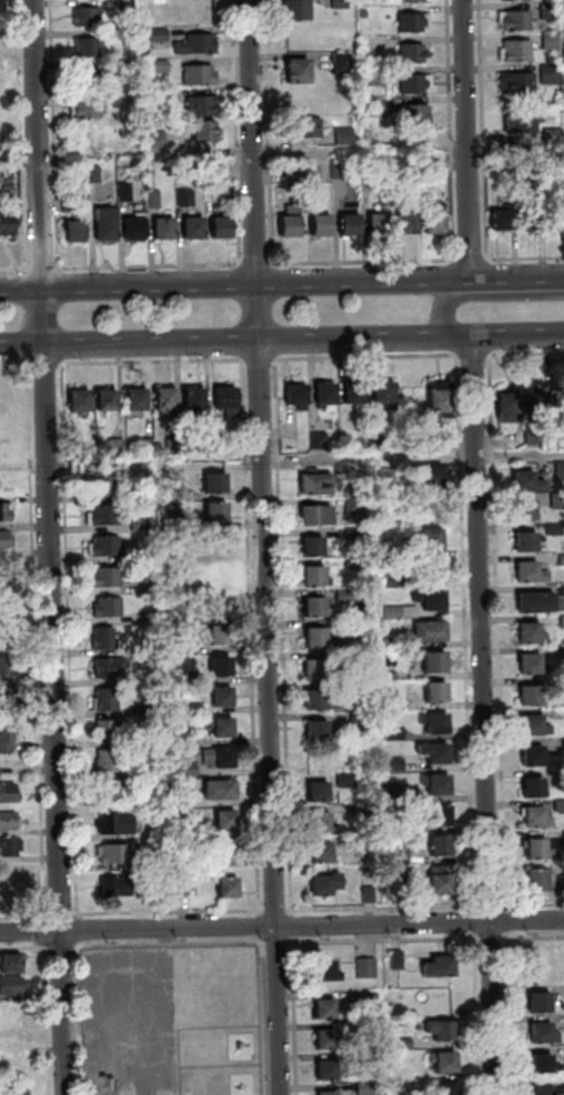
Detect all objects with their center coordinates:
building: (410, 0)
building: (127, 4)
building: (341, 4)
building: (299, 10)
building: (550, 11)
building: (365, 13)
building: (88, 17)
building: (516, 20)
building: (414, 22)
building: (160, 34)
building: (552, 42)
building: (197, 44)
building: (88, 48)
building: (516, 51)
building: (413, 53)
building: (343, 62)
building: (127, 67)
building: (160, 67)
building: (299, 69)
building: (551, 74)
building: (377, 75)
building: (200, 77)
building: (88, 79)
building: (415, 83)
building: (518, 83)
building: (162, 99)
building: (201, 105)
building: (379, 107)
building: (89, 109)
building: (414, 115)
building: (524, 122)
building: (308, 128)
road: (452, 129)
road: (484, 130)
building: (205, 131)
road: (236, 132)
road: (270, 132)
road: (21, 134)
road: (56, 134)
building: (554, 134)
building: (345, 136)
building: (160, 140)
road: (469, 140)
building: (504, 163)
building: (436, 165)
building: (343, 169)
building: (370, 169)
building: (152, 170)
building: (312, 174)
building: (95, 175)
building: (294, 175)
building: (125, 192)
building: (187, 197)
building: (155, 199)
building: (554, 213)
building: (530, 215)
building: (504, 217)
building: (74, 221)
building: (380, 221)
building: (8, 222)
building: (291, 222)
building: (409, 222)
building: (435, 222)
building: (350, 223)
building: (108, 224)
building: (322, 224)
building: (194, 226)
building: (222, 226)
building: (135, 227)
building: (165, 227)
road: (525, 258)
road: (472, 260)
road: (364, 262)
road: (256, 265)
road: (150, 266)
road: (43, 268)
road: (13, 270)
road: (510, 278)
road: (228, 284)
road: (440, 308)
road: (516, 335)
road: (234, 341)
road: (471, 357)
road: (486, 357)
road: (364, 359)
road: (152, 362)
road: (259, 362)
road: (46, 365)
road: (14, 366)
building: (324, 395)
building: (383, 395)
building: (353, 396)
building: (295, 397)
building: (137, 398)
building: (167, 398)
building: (81, 399)
building: (195, 399)
building: (228, 399)
building: (439, 401)
building: (558, 401)
building: (108, 402)
building: (534, 403)
building: (504, 408)
building: (531, 438)
building: (318, 443)
building: (373, 443)
building: (439, 444)
building: (233, 445)
building: (174, 446)
building: (205, 446)
building: (118, 447)
building: (149, 447)
building: (90, 453)
road: (305, 463)
building: (558, 472)
building: (425, 478)
building: (384, 480)
building: (216, 483)
building: (525, 483)
building: (104, 485)
building: (314, 485)
building: (172, 493)
building: (556, 504)
building: (352, 508)
building: (6, 511)
building: (522, 511)
building: (218, 513)
building: (104, 516)
building: (314, 517)
building: (141, 525)
building: (173, 525)
building: (552, 531)
building: (352, 536)
building: (6, 539)
building: (426, 540)
building: (524, 544)
road: (51, 547)
building: (105, 547)
road: (261, 547)
building: (312, 548)
building: (387, 551)
building: (561, 562)
building: (352, 567)
building: (431, 571)
building: (527, 574)
building: (220, 575)
building: (108, 578)
building: (312, 578)
building: (391, 585)
building: (190, 588)
building: (560, 592)
building: (342, 598)
road: (495, 598)
building: (429, 601)
building: (533, 604)
building: (109, 608)
building: (313, 609)
building: (399, 615)
building: (561, 623)
building: (348, 631)
building: (429, 633)
building: (221, 635)
building: (528, 635)
road: (463, 636)
building: (104, 639)
road: (252, 639)
road: (281, 639)
road: (39, 640)
building: (314, 640)
road: (70, 641)
building: (181, 646)
building: (391, 646)
building: (562, 655)
building: (346, 659)
building: (433, 663)
building: (8, 666)
building: (222, 666)
building: (530, 666)
building: (112, 668)
building: (313, 670)
building: (188, 677)
building: (389, 677)
building: (560, 685)
building: (8, 691)
building: (356, 692)
building: (434, 693)
building: (224, 697)
building: (528, 697)
building: (105, 700)
building: (320, 701)
building: (194, 709)
building: (147, 710)
road: (483, 714)
building: (562, 716)
building: (359, 723)
building: (433, 724)
building: (221, 727)
building: (532, 727)
building: (113, 730)
building: (8, 731)
building: (315, 733)
building: (392, 737)
building: (188, 740)
building: (563, 747)
building: (433, 756)
building: (531, 758)
building: (221, 759)
building: (109, 761)
building: (392, 767)
building: (189, 771)
building: (0, 772)
building: (344, 783)
building: (435, 787)
building: (532, 789)
building: (222, 790)
building: (114, 791)
building: (9, 793)
building: (175, 793)
building: (316, 793)
building: (392, 797)
building: (152, 802)
building: (558, 808)
building: (361, 814)
building: (435, 817)
building: (534, 820)
building: (10, 821)
building: (228, 821)
building: (119, 822)
building: (318, 824)
building: (563, 840)
building: (11, 846)
building: (362, 846)
building: (439, 848)
building: (229, 850)
building: (536, 851)
building: (117, 854)
building: (320, 854)
building: (158, 860)
building: (189, 861)
building: (9, 872)
building: (405, 883)
building: (439, 883)
building: (535, 883)
building: (118, 886)
building: (323, 886)
building: (560, 886)
building: (184, 888)
building: (230, 888)
building: (366, 898)
building: (8, 899)
road: (532, 906)
road: (491, 908)
road: (382, 910)
road: (169, 912)
road: (274, 912)
road: (61, 914)
road: (24, 916)
road: (506, 922)
road: (475, 923)
road: (281, 926)
road: (292, 926)
road: (261, 927)
road: (38, 929)
road: (79, 931)
road: (533, 937)
road: (492, 939)
road: (383, 940)
road: (276, 943)
road: (173, 944)
road: (38, 945)
road: (62, 951)
road: (77, 951)
road: (49, 952)
building: (397, 961)
building: (12, 964)
building: (440, 967)
building: (367, 969)
building: (328, 972)
building: (12, 985)
road: (48, 997)
building: (371, 1000)
building: (542, 1002)
building: (325, 1010)
road: (477, 1013)
road: (510, 1013)
road: (294, 1015)
road: (263, 1016)
road: (81, 1020)
building: (443, 1031)
building: (11, 1034)
building: (544, 1034)
building: (328, 1040)
building: (403, 1044)
building: (445, 1062)
building: (546, 1065)
building: (329, 1071)
building: (14, 1088)
building: (366, 1089)
building: (450, 1089)
building: (544, 1089)
building: (330, 1094)

